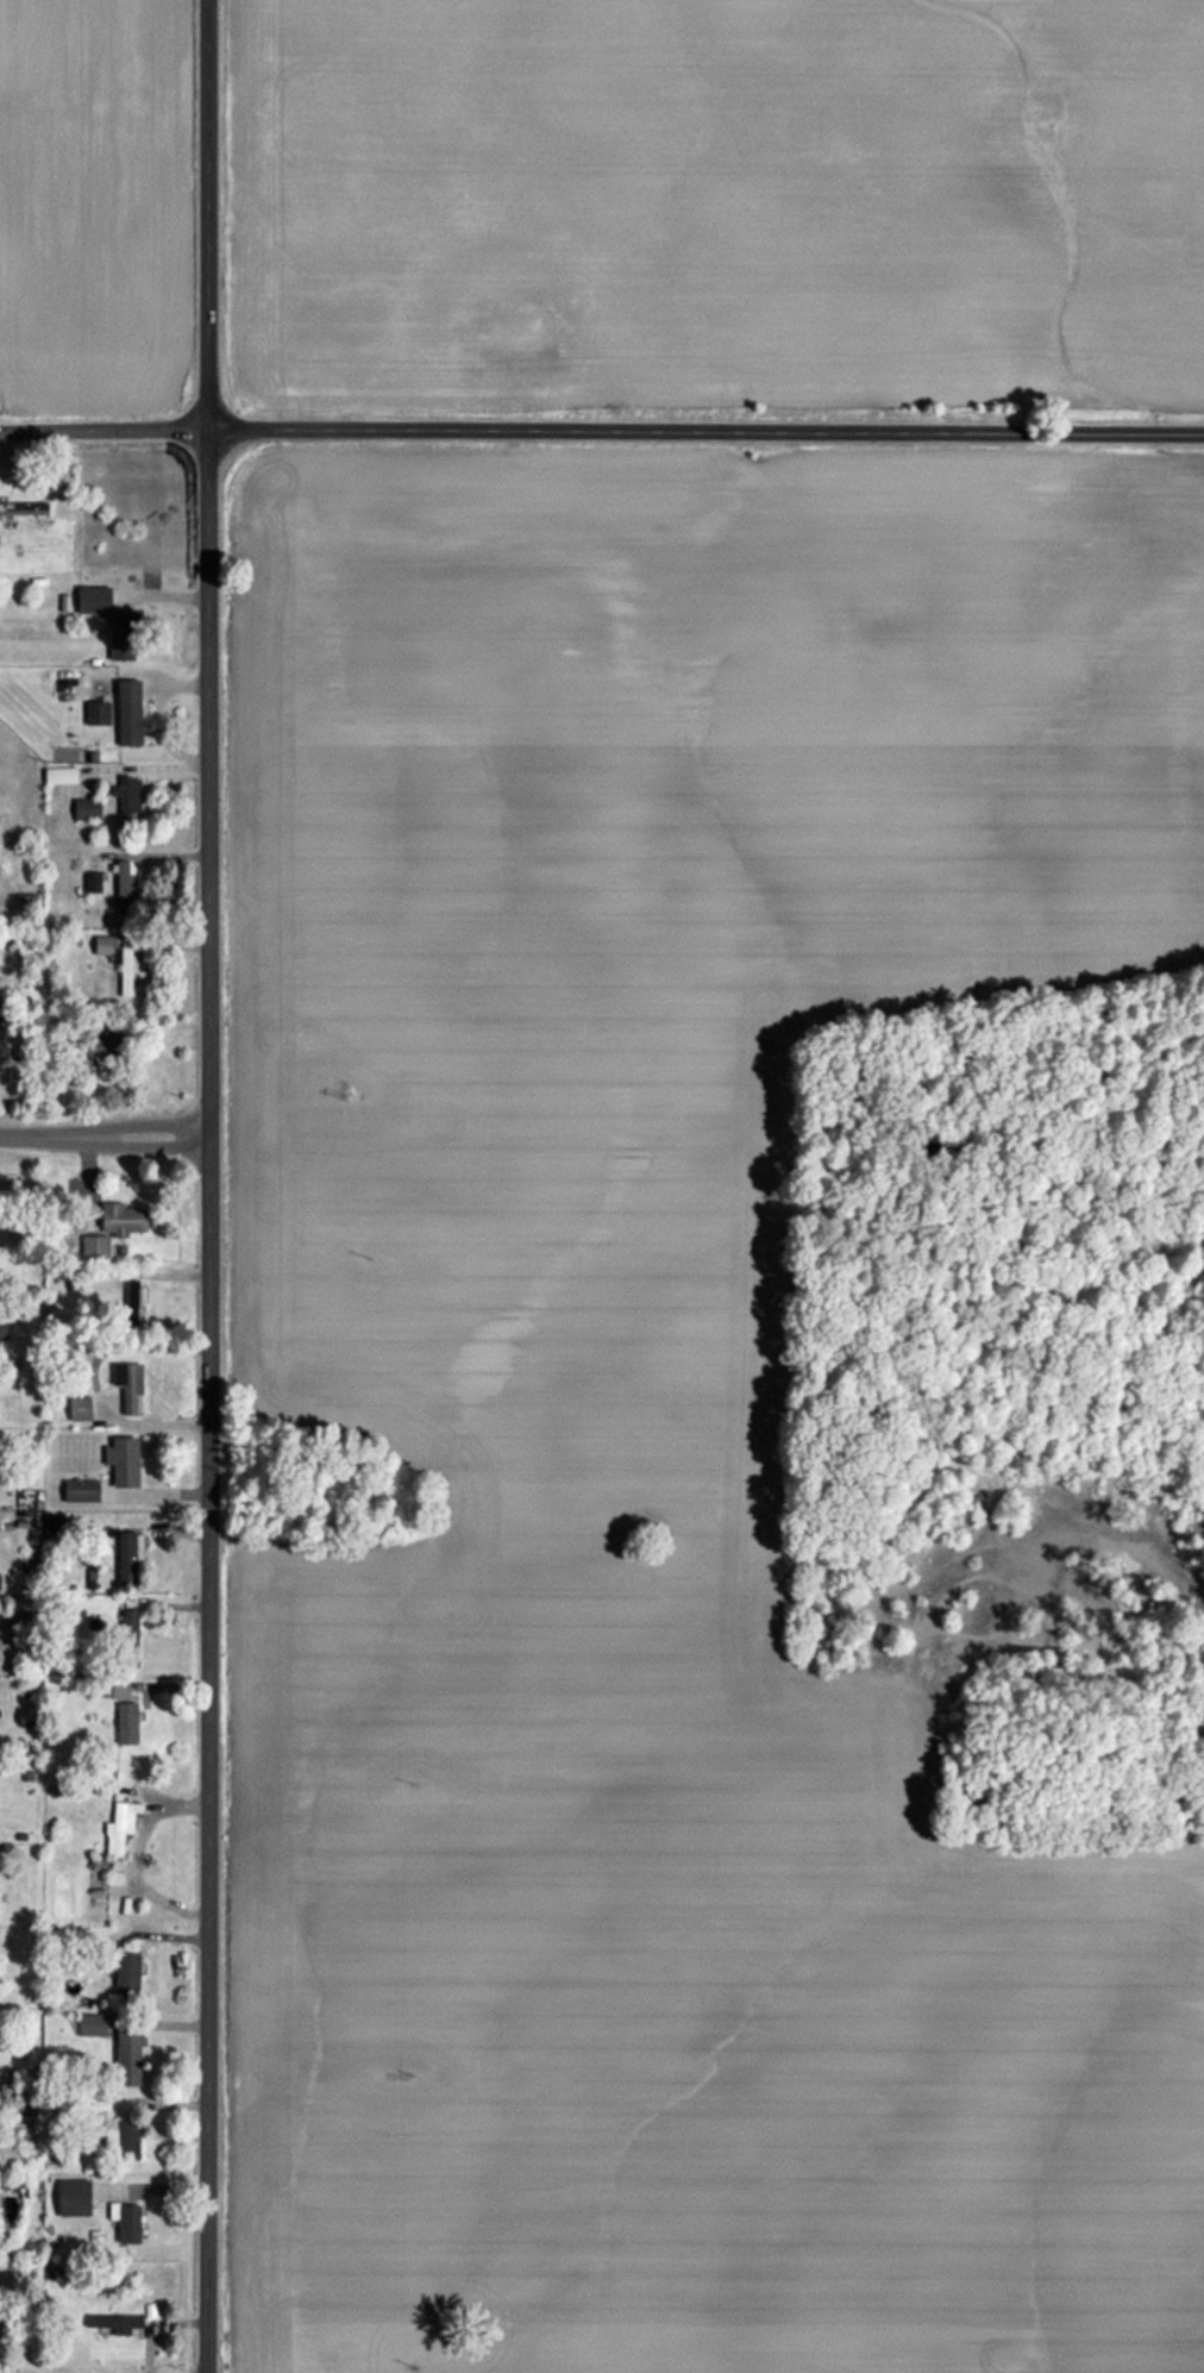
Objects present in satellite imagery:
road: (102, 427)
road: (704, 427)
building: (19, 509)
building: (113, 620)
building: (99, 713)
building: (131, 713)
building: (130, 797)
building: (88, 809)
building: (126, 887)
building: (104, 946)
building: (126, 971)
building: (106, 1045)
road: (102, 1126)
road: (205, 1185)
building: (121, 1219)
building: (4, 1328)
building: (131, 1386)
building: (125, 1460)
building: (81, 1490)
building: (128, 1557)
building: (0, 1582)
road: (697, 1588)
building: (111, 1690)
building: (128, 1723)
building: (121, 1827)
building: (128, 1976)
building: (96, 2025)
building: (130, 2058)
building: (124, 2140)
building: (75, 2197)
building: (130, 2224)
building: (118, 2323)

